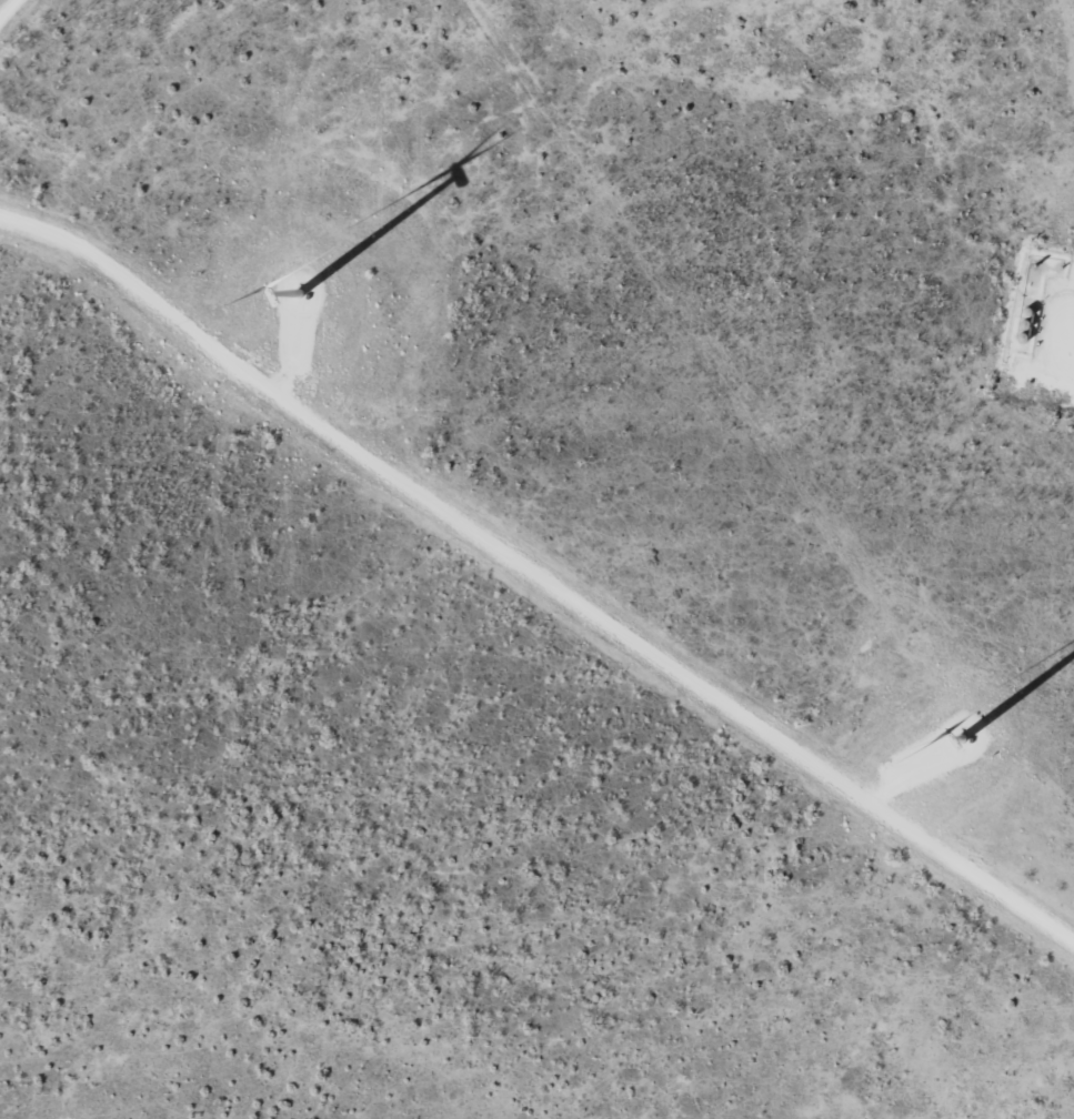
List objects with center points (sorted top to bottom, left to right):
road: (1050, 64)
wind turbine: (299, 295)
wind turbine: (962, 739)

